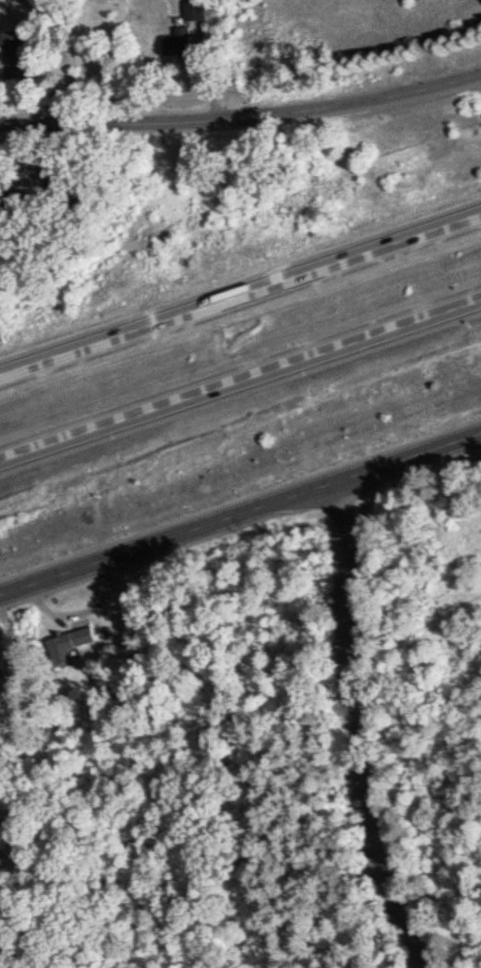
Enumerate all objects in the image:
building: (194, 9)
building: (177, 41)
building: (15, 52)
road: (242, 115)
building: (33, 195)
road: (240, 287)
road: (240, 376)
road: (240, 510)
building: (68, 644)
road: (8, 690)
road: (354, 727)
road: (1, 773)
road: (7, 792)
building: (1, 865)

